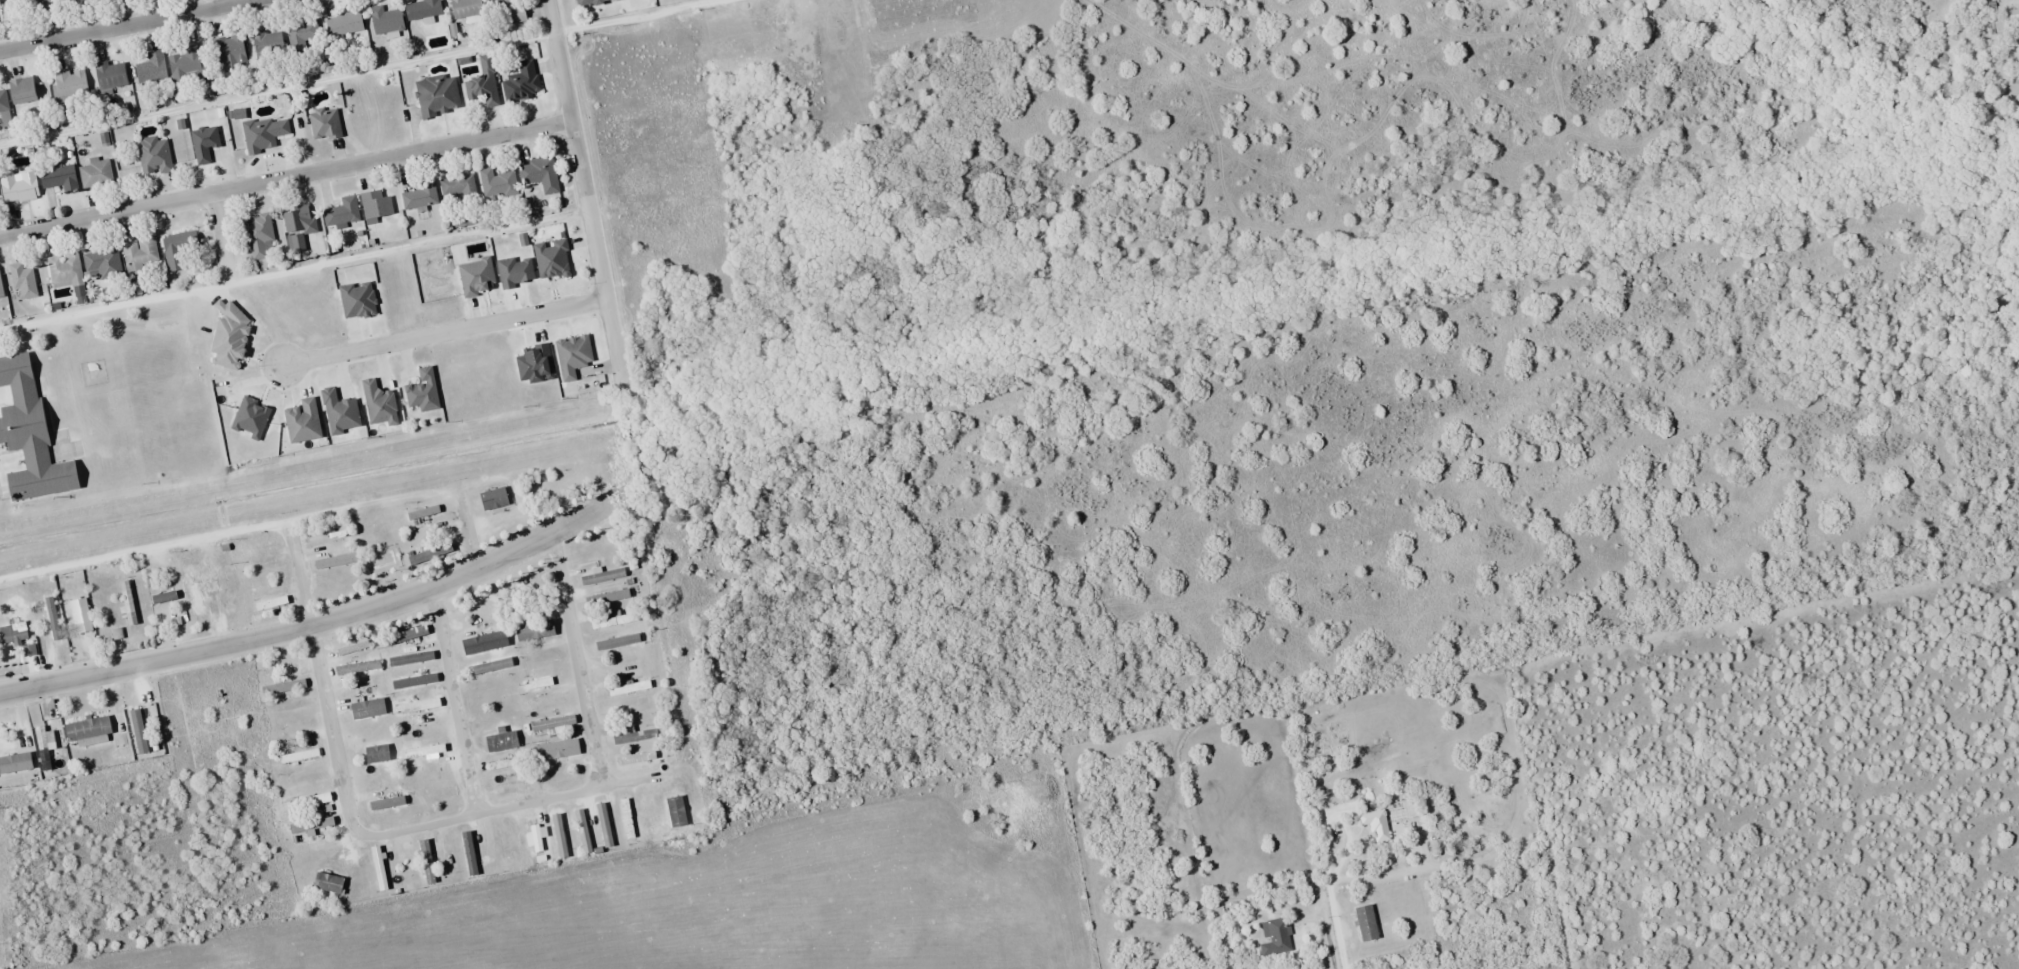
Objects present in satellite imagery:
building: (98, 0)
building: (83, 2)
road: (236, 2)
building: (592, 2)
building: (39, 7)
building: (466, 8)
building: (422, 9)
building: (509, 14)
building: (385, 20)
building: (344, 24)
road: (128, 25)
building: (301, 36)
building: (268, 44)
building: (229, 52)
building: (183, 65)
building: (152, 68)
building: (110, 76)
building: (483, 83)
building: (522, 83)
building: (69, 86)
building: (22, 90)
building: (437, 96)
building: (3, 100)
building: (325, 123)
building: (264, 134)
building: (204, 144)
building: (154, 156)
building: (96, 173)
road: (285, 174)
building: (540, 174)
building: (60, 178)
building: (497, 184)
building: (19, 186)
building: (458, 186)
road: (584, 191)
building: (420, 197)
building: (376, 206)
building: (342, 213)
building: (296, 219)
road: (218, 231)
building: (259, 237)
building: (178, 249)
building: (140, 255)
building: (552, 259)
building: (102, 265)
building: (65, 269)
building: (23, 281)
building: (1, 290)
road: (443, 332)
building: (251, 418)
building: (30, 436)
building: (555, 482)
building: (493, 498)
building: (423, 511)
road: (468, 531)
building: (262, 548)
building: (338, 560)
building: (264, 574)
building: (602, 576)
building: (340, 582)
building: (224, 593)
building: (165, 596)
building: (607, 597)
building: (127, 602)
building: (50, 618)
building: (79, 621)
road: (322, 623)
building: (535, 630)
building: (13, 633)
building: (406, 634)
building: (484, 642)
building: (617, 642)
building: (27, 650)
building: (411, 659)
road: (576, 660)
building: (490, 666)
building: (357, 668)
building: (413, 681)
building: (283, 687)
building: (628, 688)
building: (361, 690)
building: (495, 693)
road: (453, 700)
building: (552, 700)
building: (418, 706)
building: (553, 722)
building: (89, 729)
building: (633, 736)
building: (137, 738)
building: (501, 741)
building: (44, 746)
building: (558, 749)
building: (422, 751)
building: (377, 754)
building: (299, 755)
building: (639, 757)
building: (16, 763)
building: (304, 778)
building: (521, 780)
building: (308, 801)
building: (676, 811)
building: (650, 816)
building: (311, 824)
building: (1375, 824)
building: (604, 825)
building: (583, 831)
road: (357, 834)
building: (559, 835)
building: (536, 838)
building: (514, 844)
road: (1345, 844)
building: (317, 846)
building: (469, 853)
building: (379, 868)
building: (405, 869)
road: (1395, 877)
road: (1330, 887)
building: (1367, 923)
road: (1324, 927)
building: (1275, 937)

